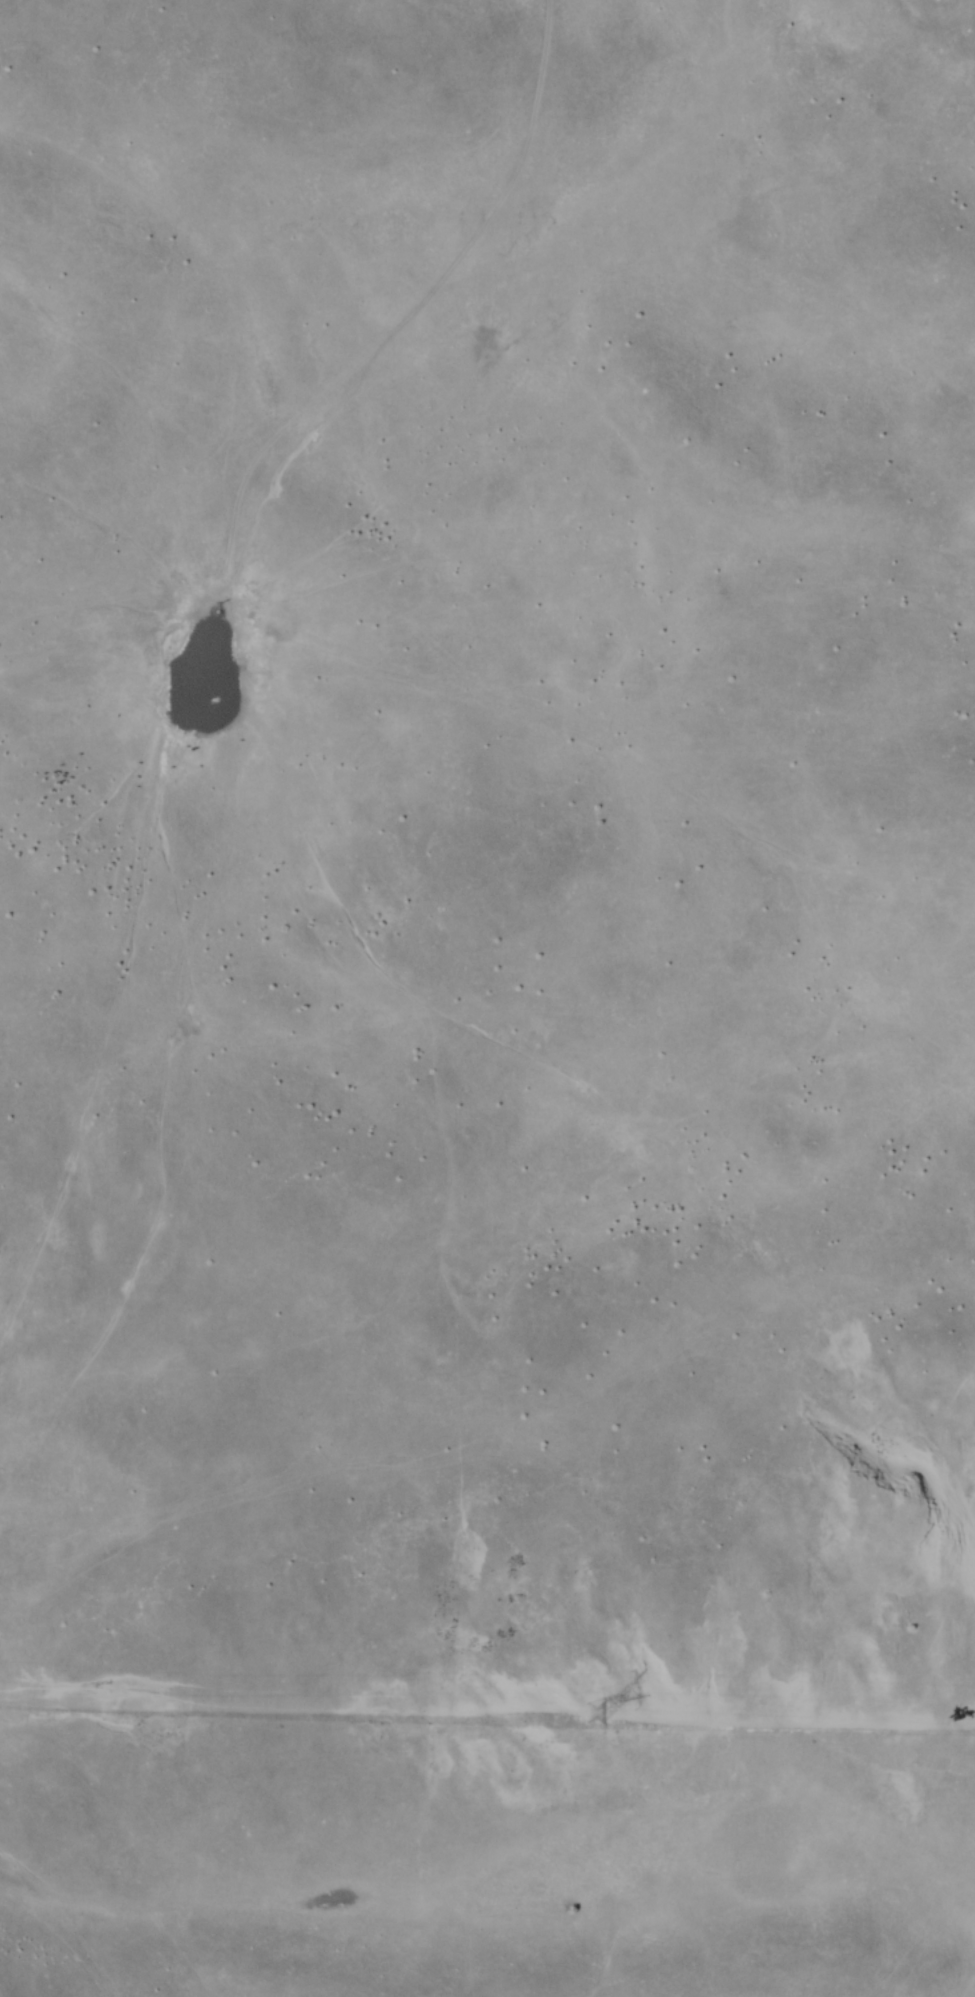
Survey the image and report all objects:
power tower: (592, 1712)

